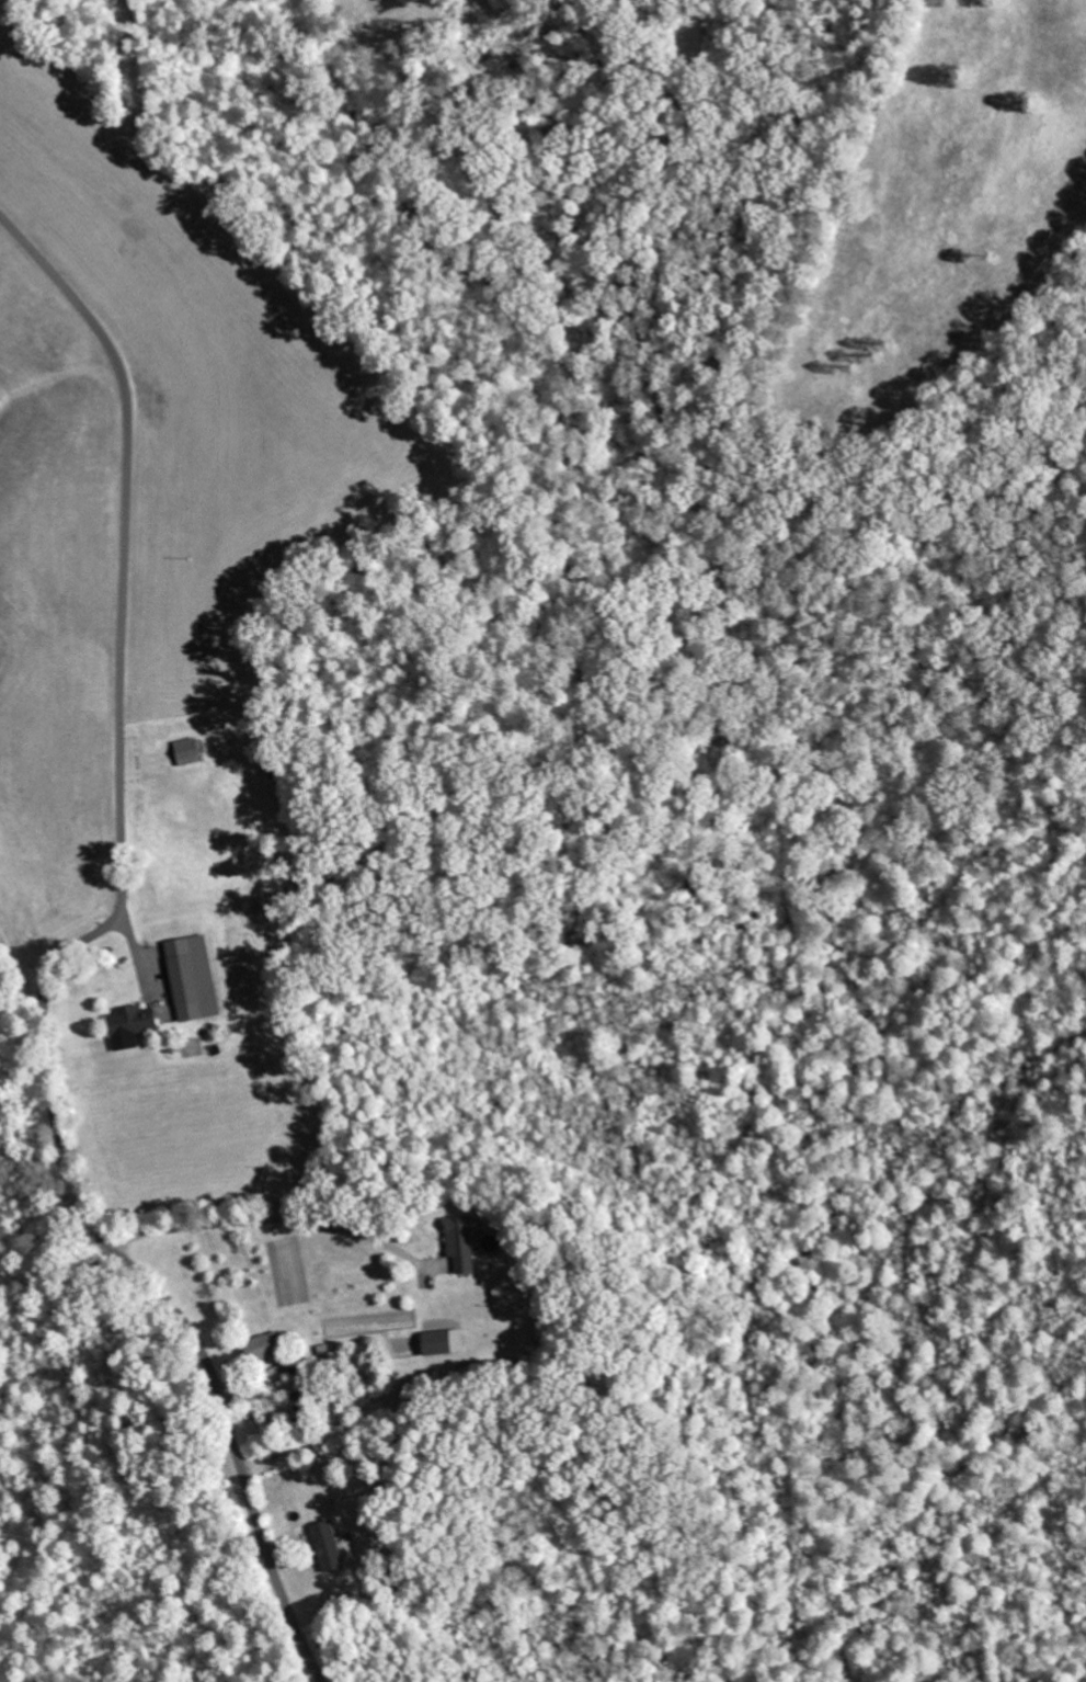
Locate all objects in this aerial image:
road: (69, 953)
building: (187, 981)
building: (127, 1030)
building: (457, 1246)
building: (438, 1344)
building: (260, 1350)
building: (323, 1548)

